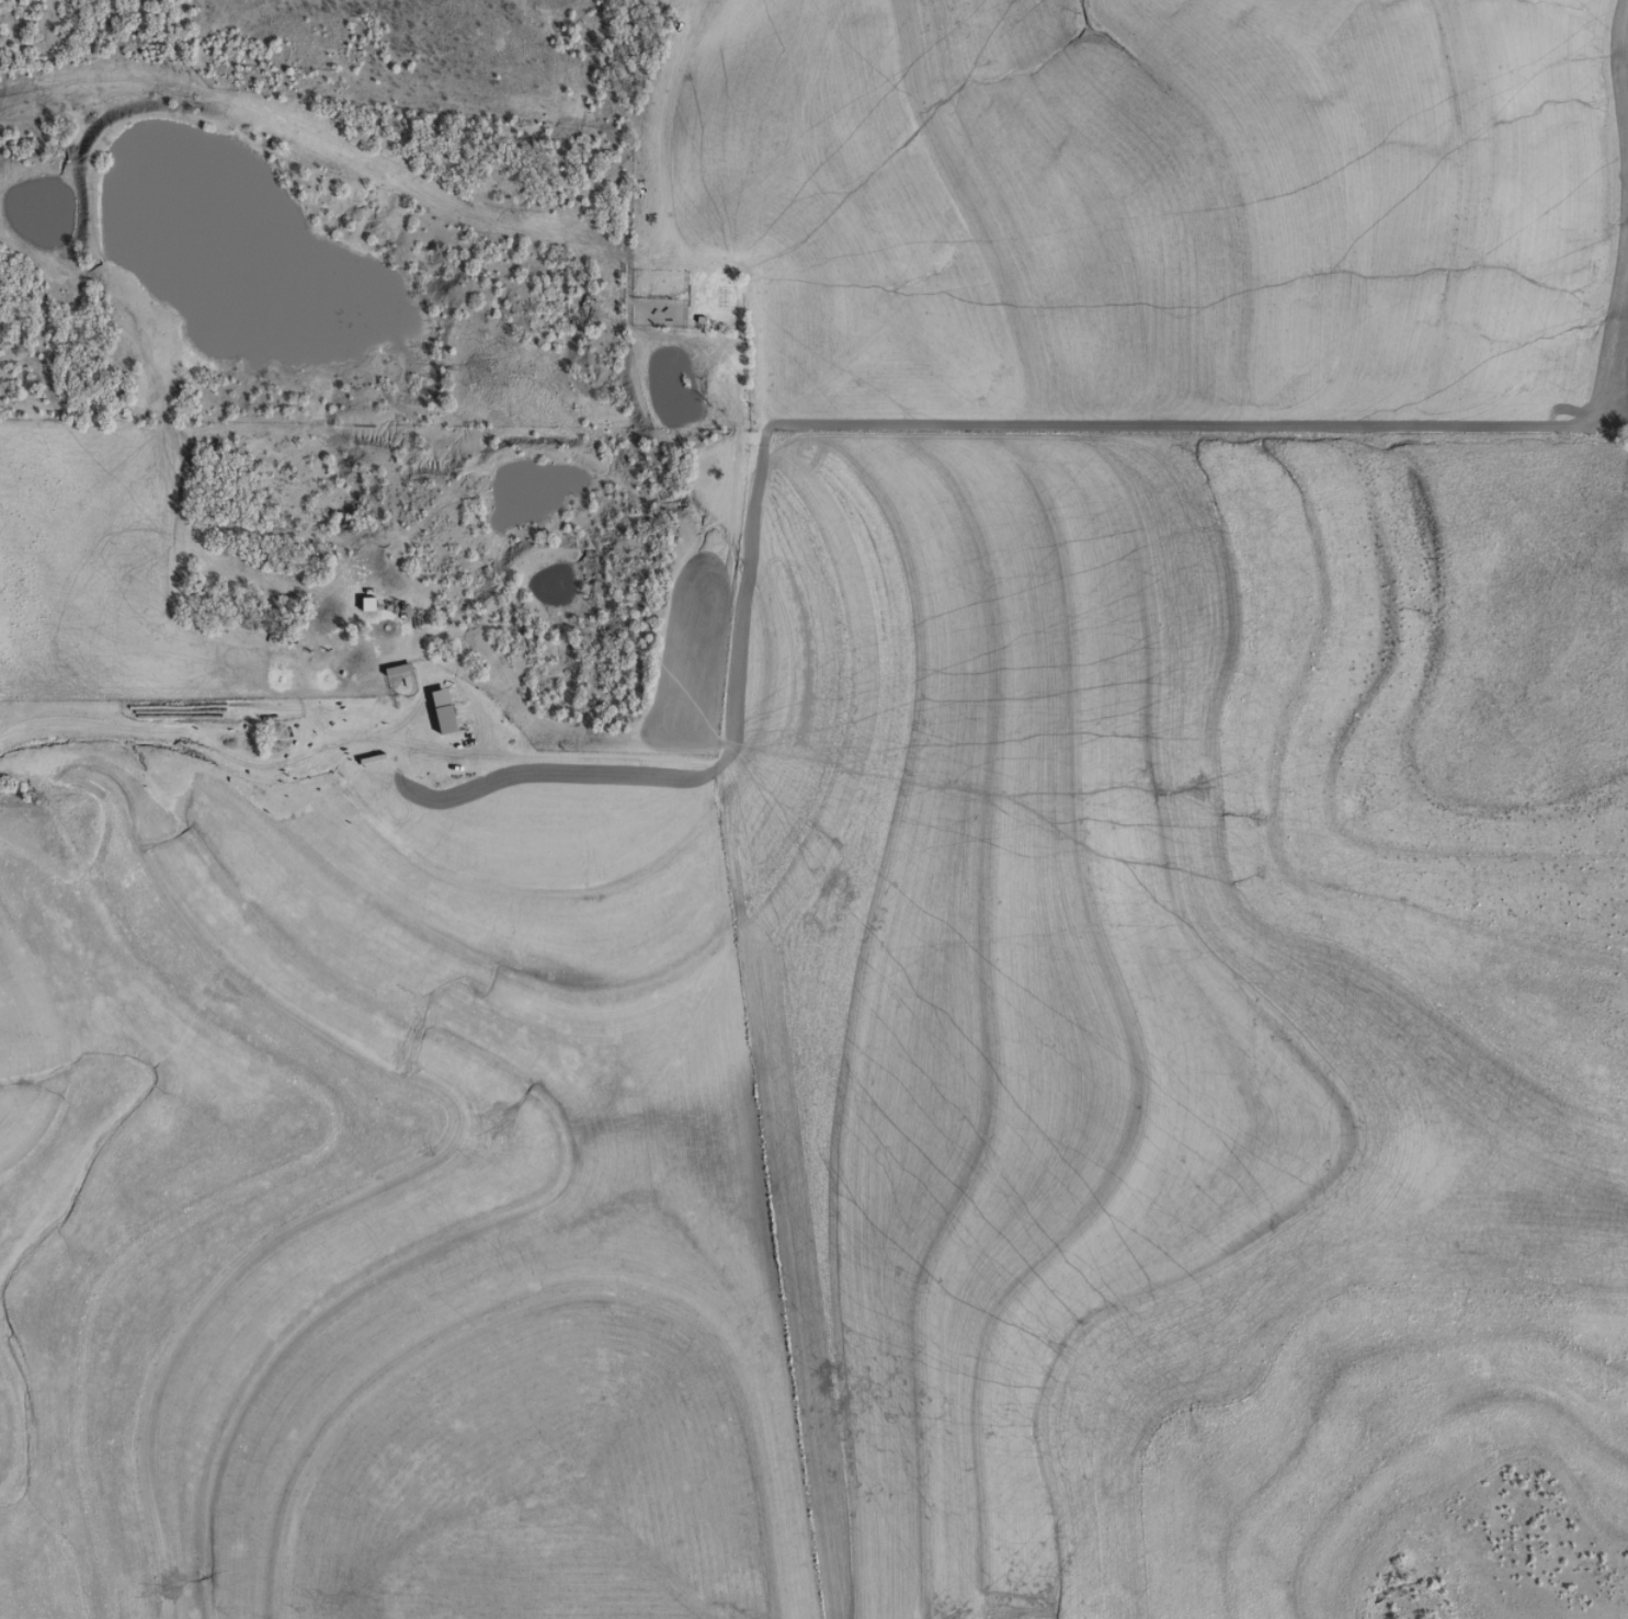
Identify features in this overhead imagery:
building: (443, 720)

